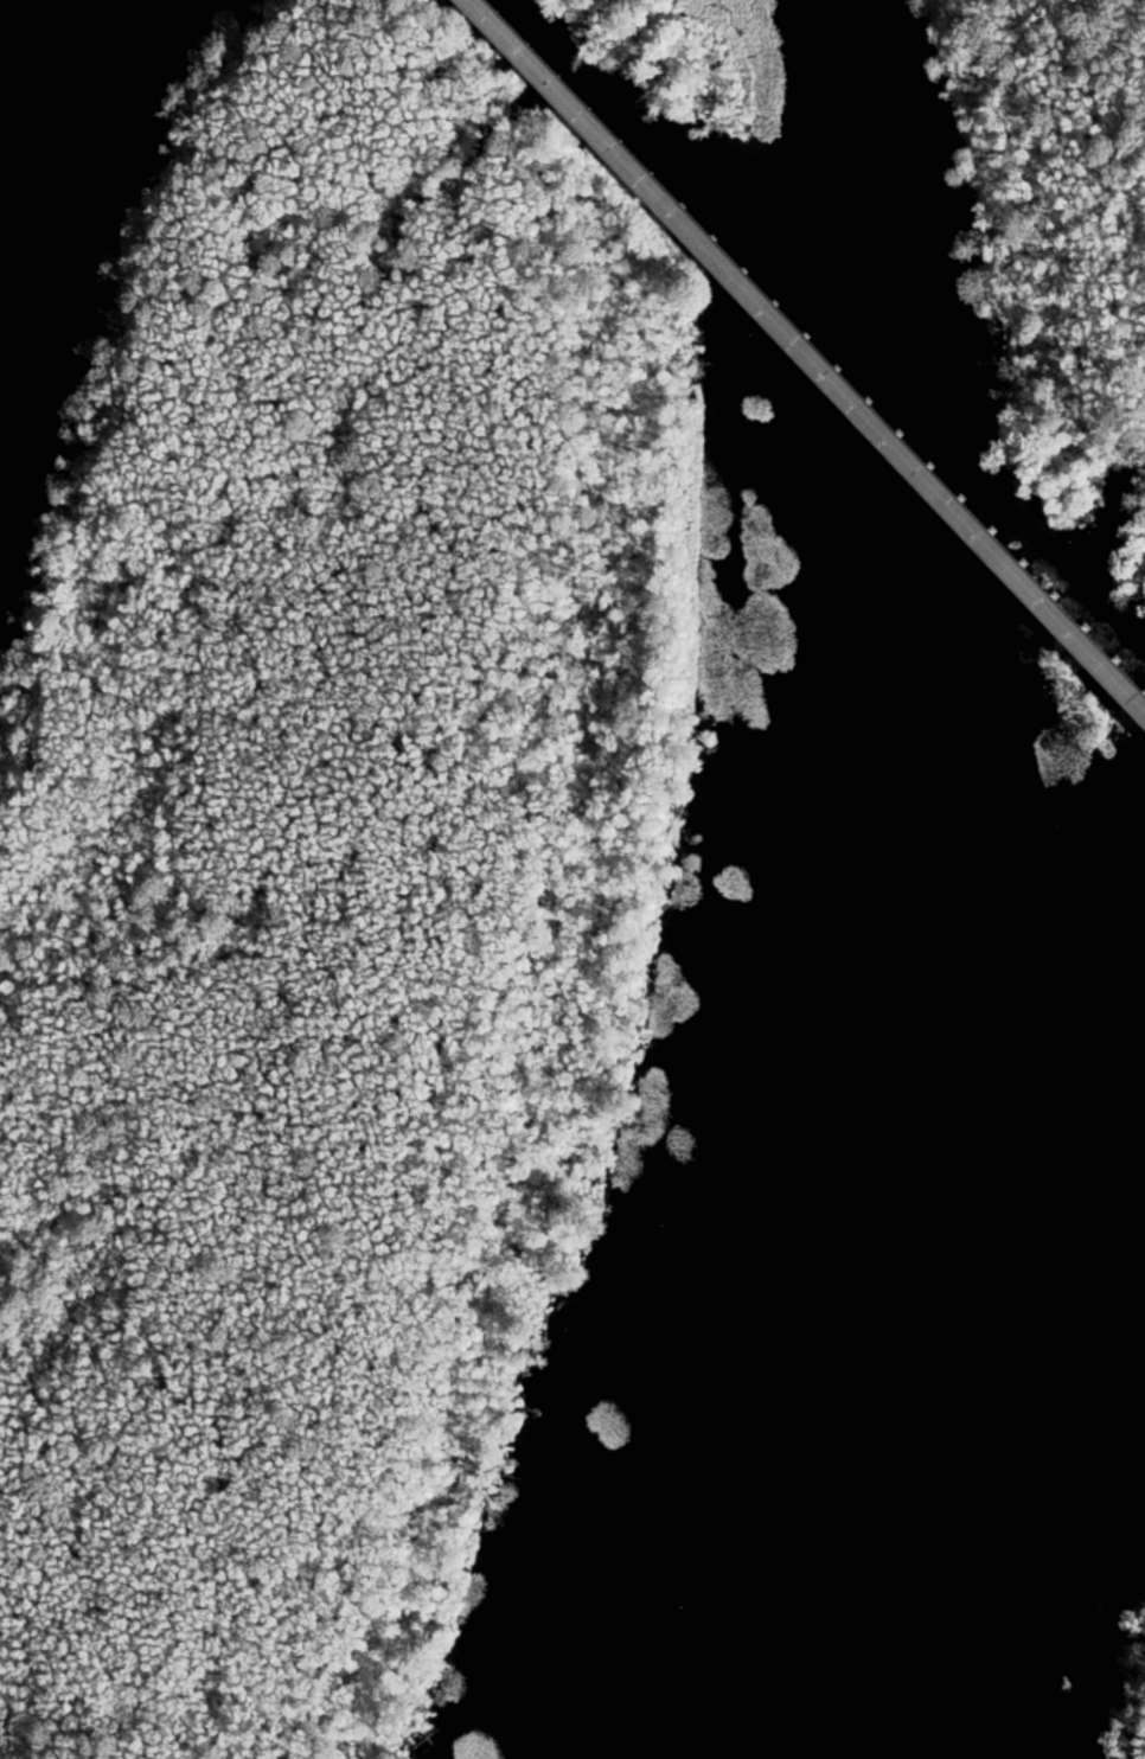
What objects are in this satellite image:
river: (8, 30)
road: (810, 348)
building: (1121, 687)
river: (935, 1395)

